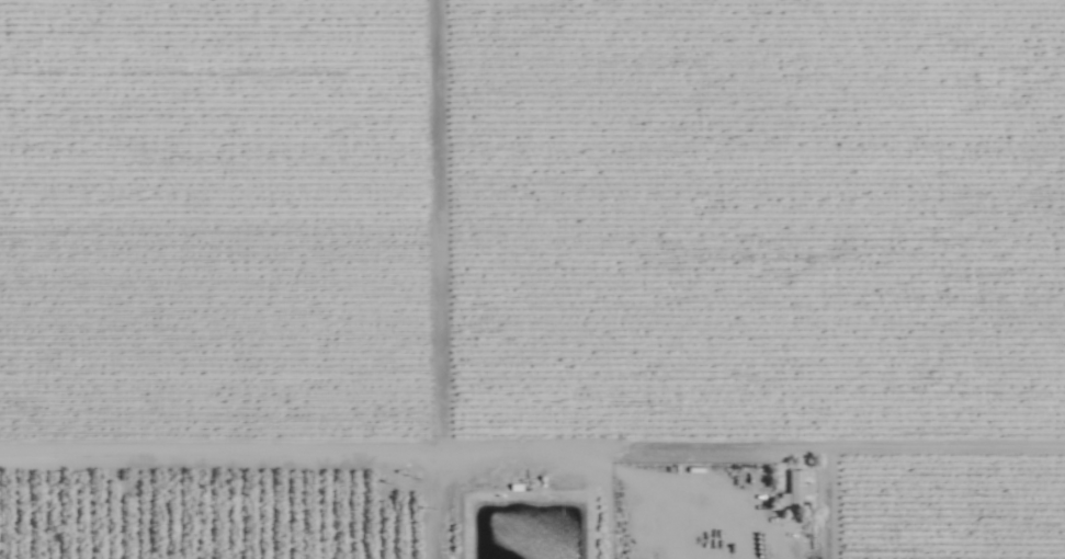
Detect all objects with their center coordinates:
crop: (532, 279)
road: (336, 447)
building: (798, 489)

